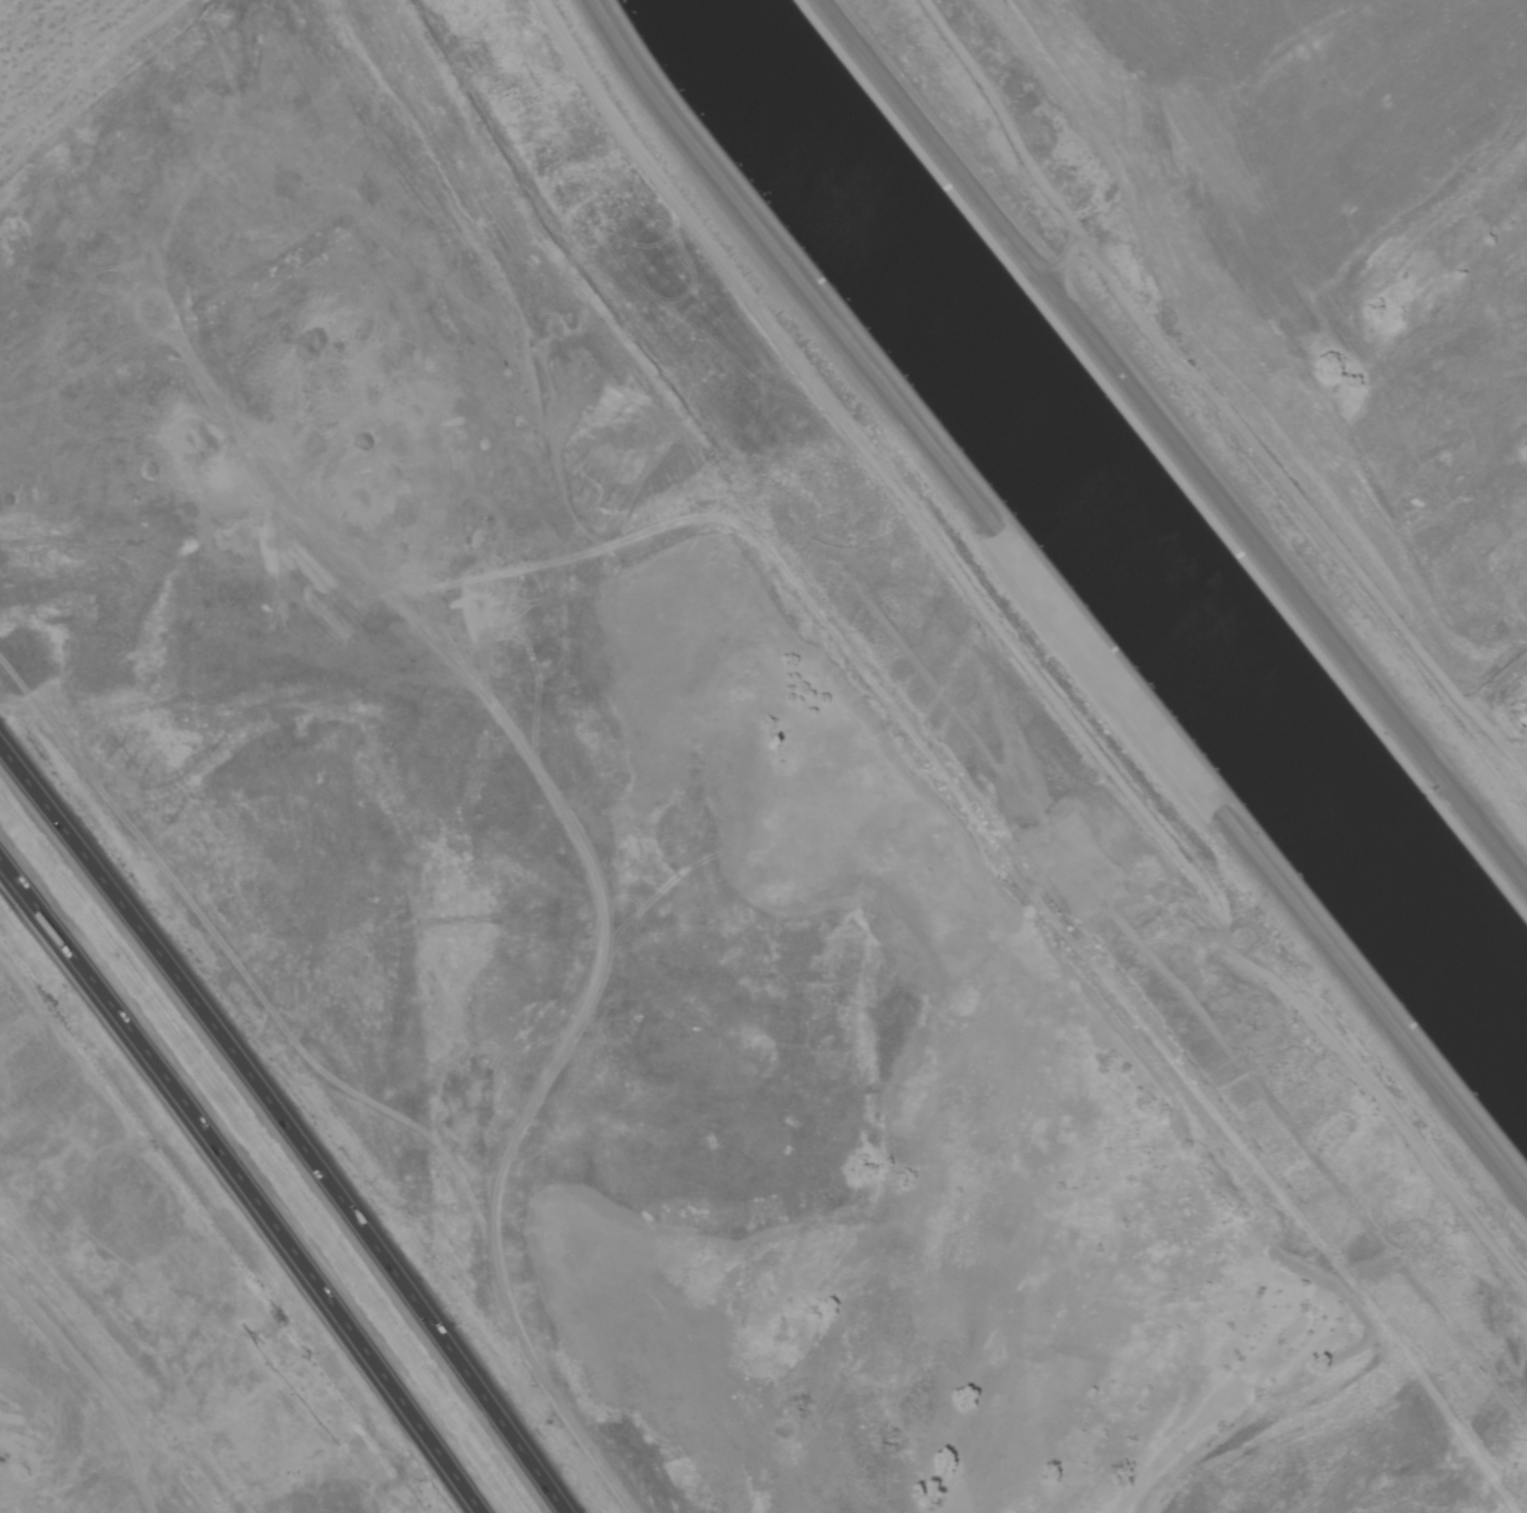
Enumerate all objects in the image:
crop: (55, 45)
road: (597, 900)
road: (287, 1128)
road: (246, 1184)
quarry: (60, 1451)

